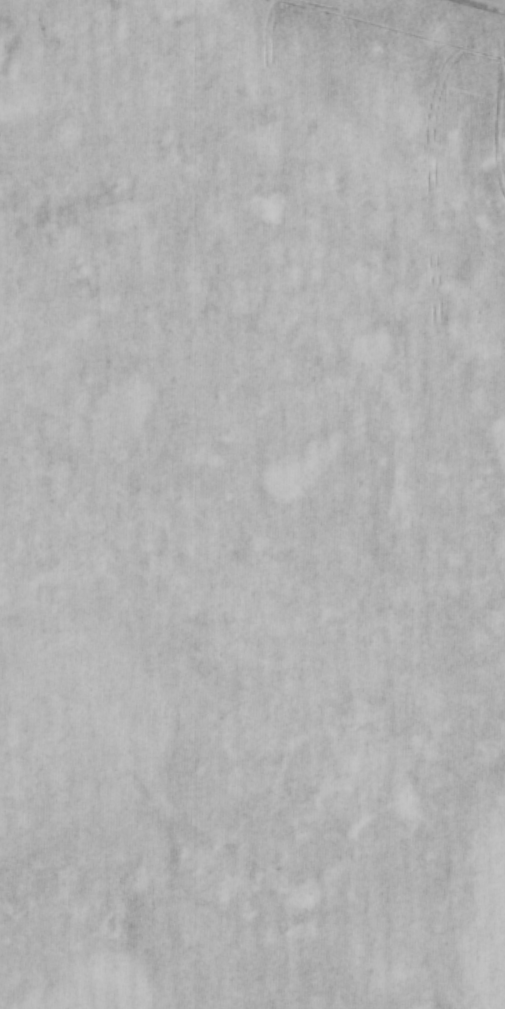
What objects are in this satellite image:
crop: (252, 504)

